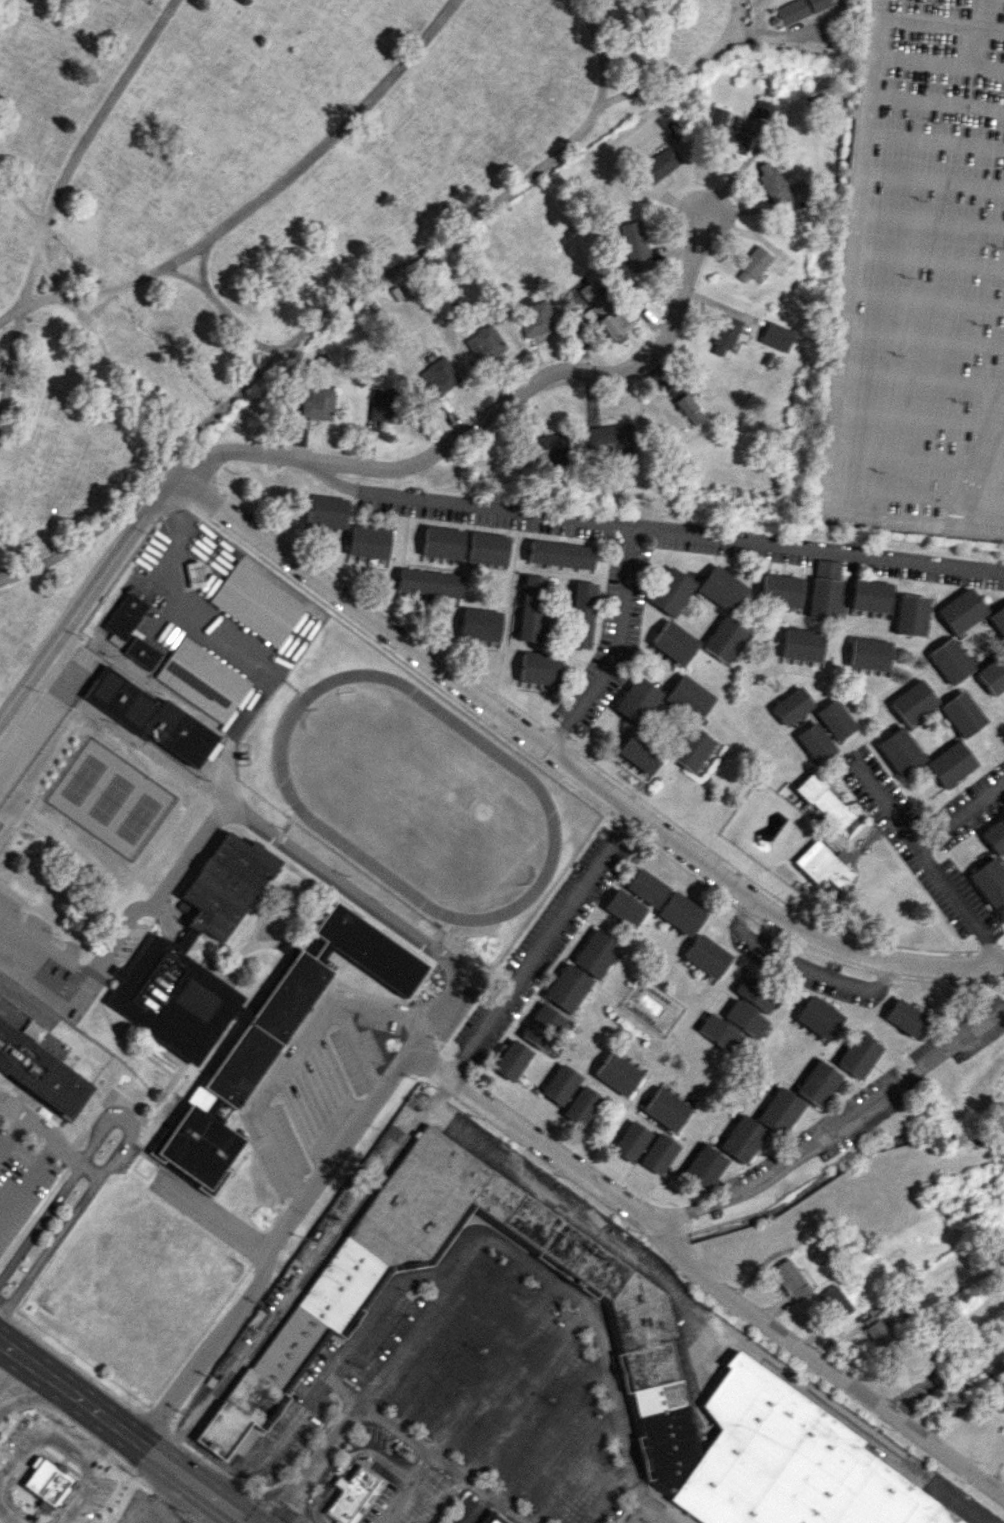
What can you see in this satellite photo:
building: (798, 9)
road: (940, 26)
road: (938, 60)
road: (684, 73)
road: (936, 101)
building: (763, 109)
building: (669, 125)
building: (724, 132)
road: (934, 141)
road: (82, 146)
building: (658, 165)
road: (931, 180)
building: (770, 182)
road: (265, 194)
park: (265, 205)
road: (929, 220)
building: (635, 245)
road: (927, 258)
building: (752, 264)
road: (49, 269)
parking lot: (922, 282)
road: (204, 288)
road: (925, 297)
road: (340, 305)
building: (604, 313)
road: (11, 314)
road: (228, 314)
building: (534, 316)
building: (725, 335)
building: (775, 336)
road: (923, 336)
road: (251, 340)
building: (485, 344)
road: (839, 346)
road: (13, 358)
building: (439, 376)
road: (920, 377)
building: (673, 388)
building: (317, 402)
building: (385, 405)
building: (688, 409)
road: (918, 417)
building: (608, 438)
building: (548, 447)
road: (915, 457)
road: (979, 458)
road: (351, 467)
road: (913, 498)
building: (326, 512)
road: (648, 528)
building: (368, 541)
building: (442, 542)
building: (487, 548)
building: (561, 553)
building: (195, 574)
building: (428, 582)
building: (722, 588)
building: (781, 589)
building: (825, 589)
building: (672, 591)
building: (871, 595)
building: (256, 603)
building: (532, 608)
building: (962, 610)
building: (582, 614)
building: (911, 614)
building: (998, 619)
building: (125, 620)
building: (479, 624)
building: (725, 637)
building: (675, 642)
road: (231, 643)
building: (803, 643)
road: (615, 648)
building: (142, 652)
building: (870, 653)
building: (951, 660)
building: (541, 667)
building: (992, 674)
building: (203, 679)
building: (689, 697)
building: (637, 700)
building: (914, 702)
building: (793, 705)
building: (962, 713)
building: (149, 716)
building: (836, 719)
road: (38, 729)
building: (816, 742)
building: (691, 748)
building: (900, 751)
building: (640, 752)
building: (951, 764)
road: (575, 772)
park: (411, 790)
track: (541, 797)
building: (825, 802)
road: (961, 817)
building: (995, 835)
road: (928, 863)
building: (822, 865)
building: (989, 881)
building: (646, 887)
building: (623, 908)
building: (681, 913)
road: (537, 942)
building: (162, 950)
road: (435, 952)
building: (595, 953)
building: (706, 956)
road: (802, 964)
building: (567, 987)
building: (753, 992)
building: (818, 1017)
building: (904, 1017)
building: (744, 1018)
building: (541, 1026)
building: (717, 1032)
building: (275, 1040)
road: (293, 1053)
building: (858, 1054)
building: (511, 1060)
building: (40, 1071)
building: (617, 1073)
building: (818, 1082)
building: (560, 1084)
building: (582, 1106)
building: (666, 1109)
building: (779, 1111)
road: (851, 1116)
road: (10, 1133)
road: (126, 1135)
building: (741, 1139)
building: (631, 1140)
road: (48, 1141)
building: (658, 1153)
building: (703, 1167)
parking lot: (20, 1180)
road: (27, 1185)
road: (528, 1186)
road: (212, 1216)
building: (821, 1252)
road: (464, 1257)
building: (790, 1280)
road: (719, 1291)
building: (835, 1301)
building: (322, 1317)
building: (877, 1332)
road: (407, 1335)
road: (456, 1344)
building: (918, 1364)
road: (12, 1373)
road: (523, 1393)
parking lot: (473, 1395)
building: (953, 1396)
road: (467, 1403)
road: (123, 1430)
road: (549, 1431)
road: (37, 1432)
road: (101, 1444)
road: (423, 1452)
road: (315, 1462)
road: (351, 1464)
road: (574, 1467)
building: (48, 1486)
road: (168, 1492)
road: (79, 1494)
building: (350, 1494)
road: (257, 1495)
road: (607, 1495)
road: (301, 1499)
road: (446, 1501)
road: (153, 1509)
road: (476, 1510)
road: (638, 1512)
road: (8, 1515)
building: (493, 1520)
road: (670, 1521)
parking lot: (647, 1522)

